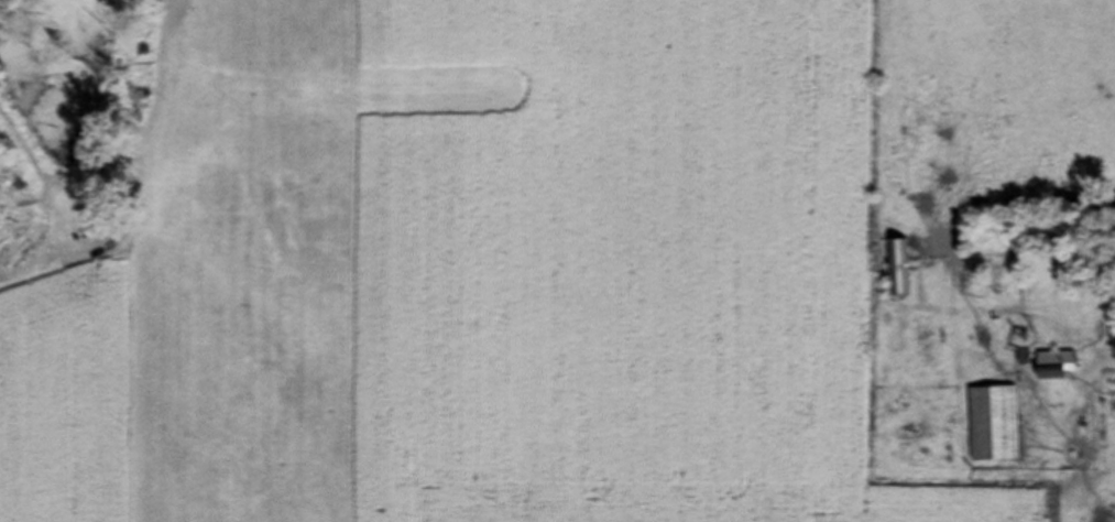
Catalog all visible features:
building: (898, 269)
building: (1039, 271)
building: (1054, 359)
building: (993, 424)

